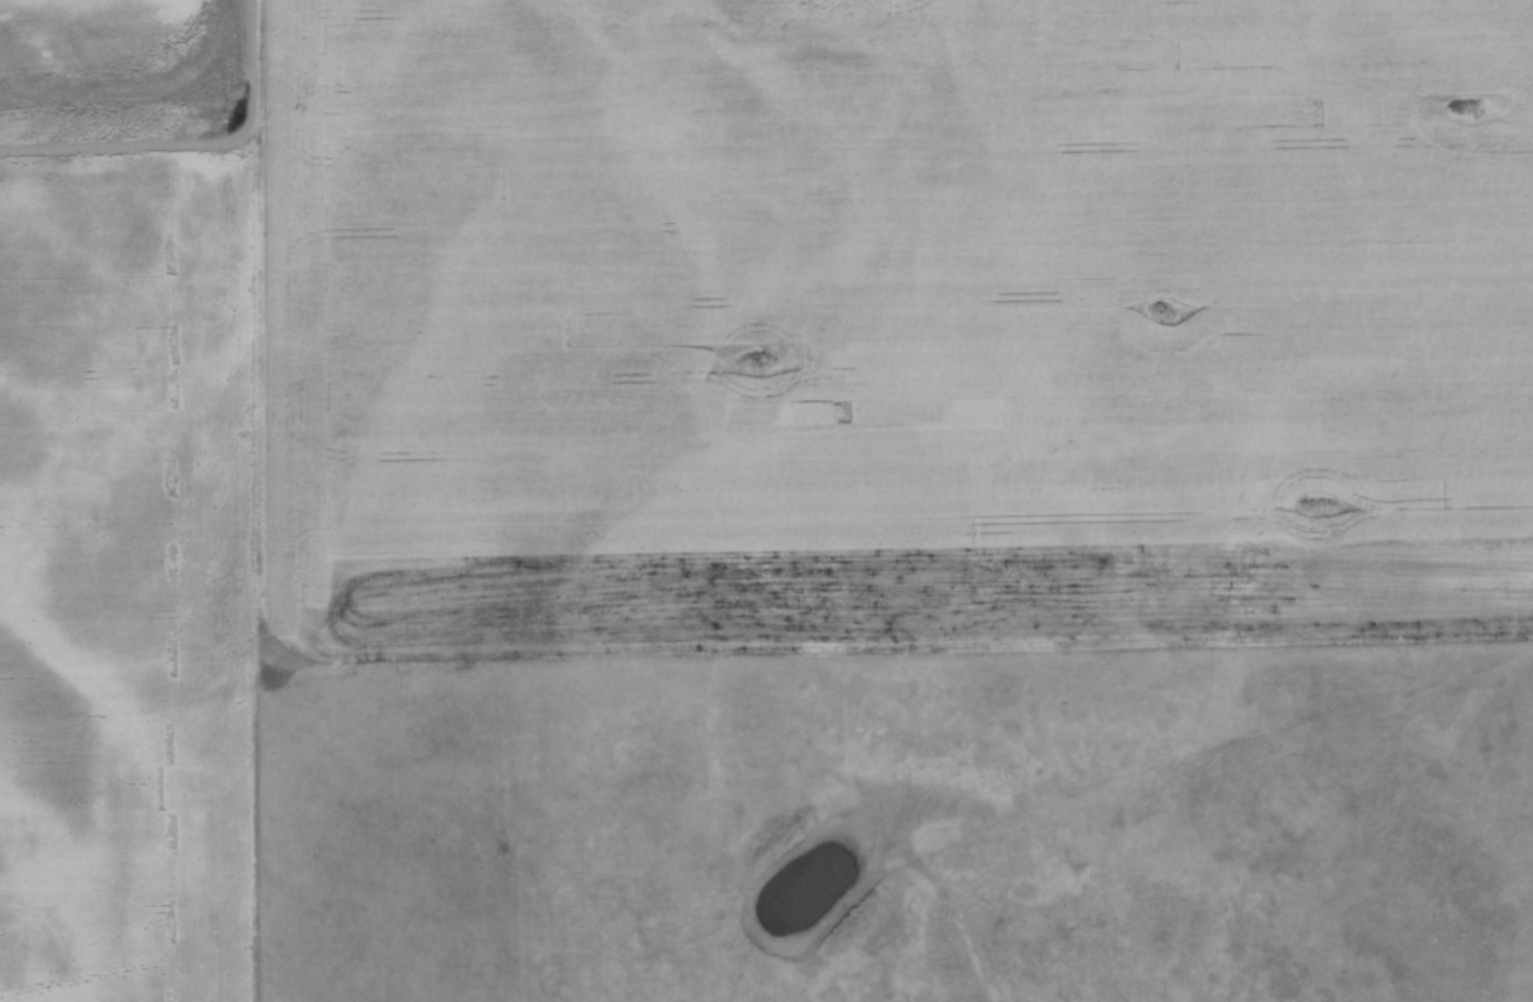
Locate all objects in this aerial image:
road: (262, 324)
road: (765, 634)

